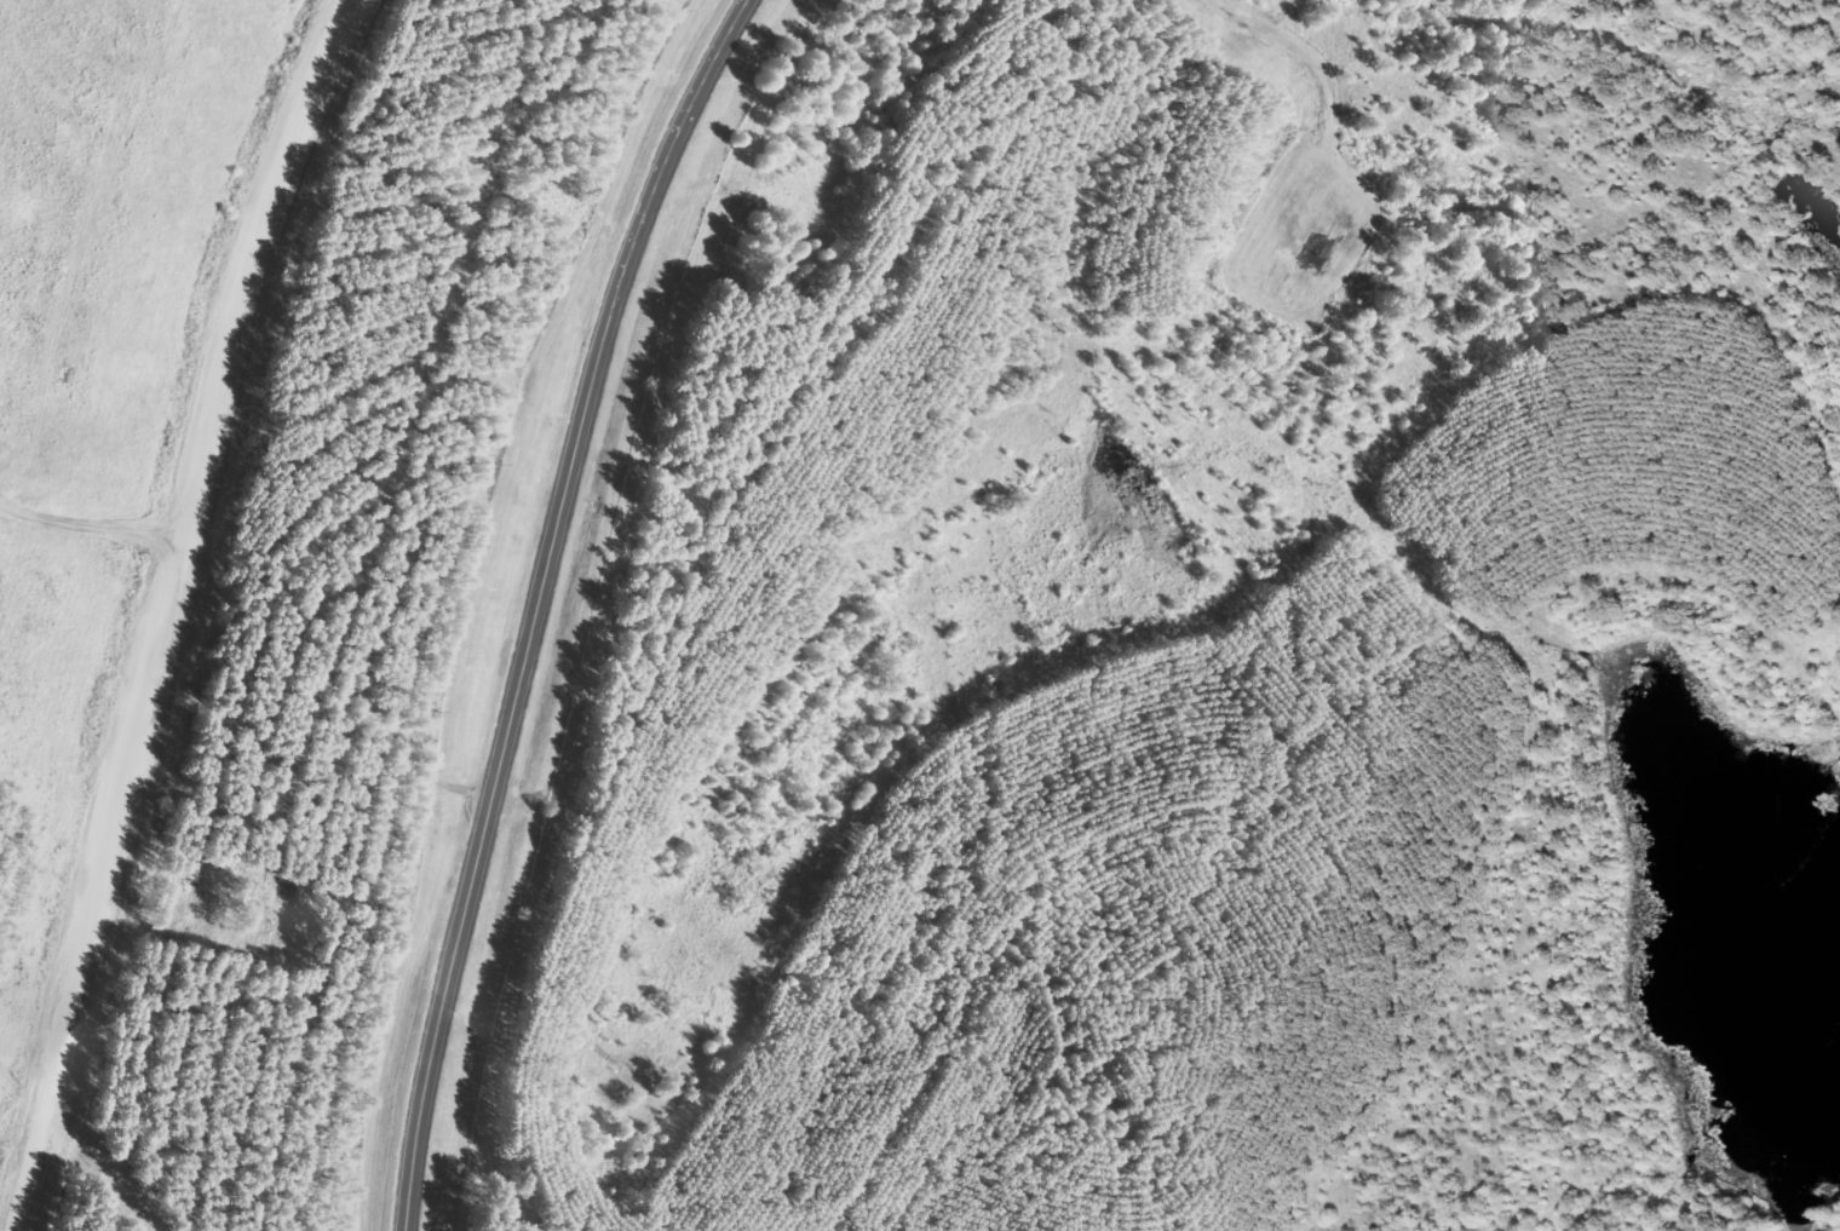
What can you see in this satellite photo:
road: (255, 266)
road: (537, 603)
road: (130, 792)

